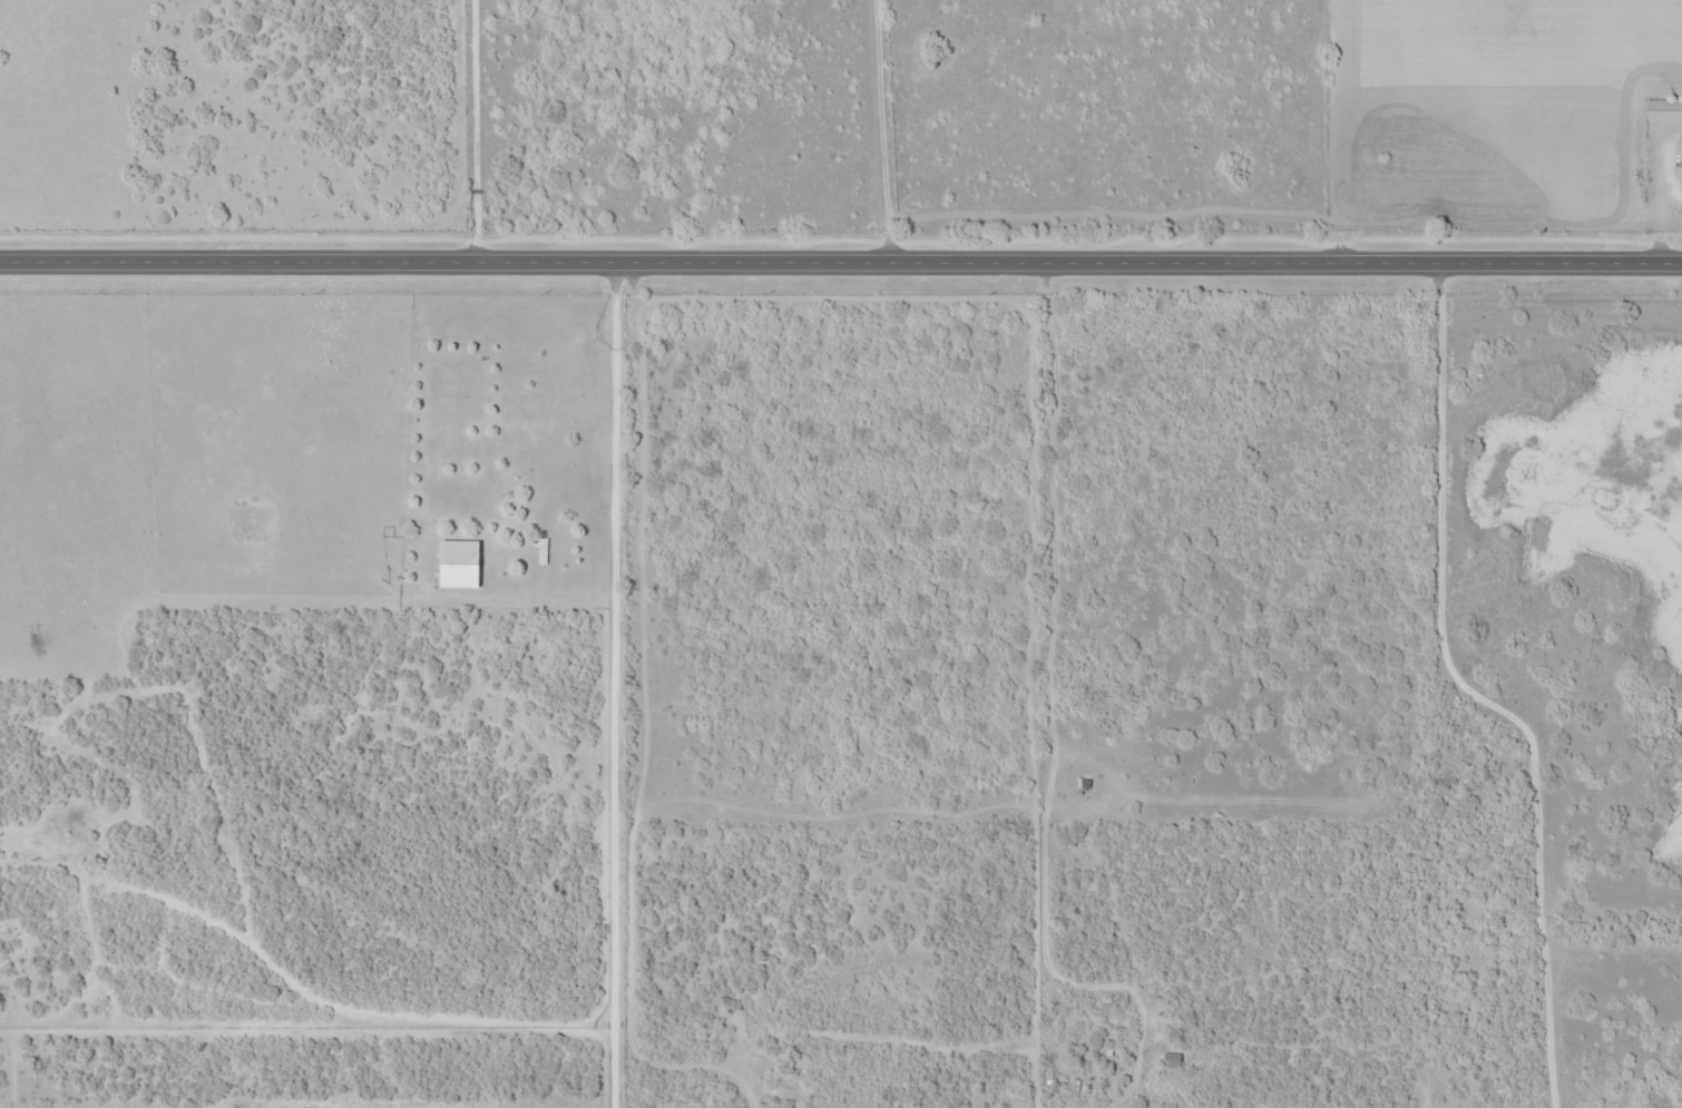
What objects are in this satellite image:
building: (1665, 109)
road: (840, 268)
road: (1457, 510)
building: (461, 562)
road: (627, 689)
road: (407, 1013)
building: (1173, 1059)

